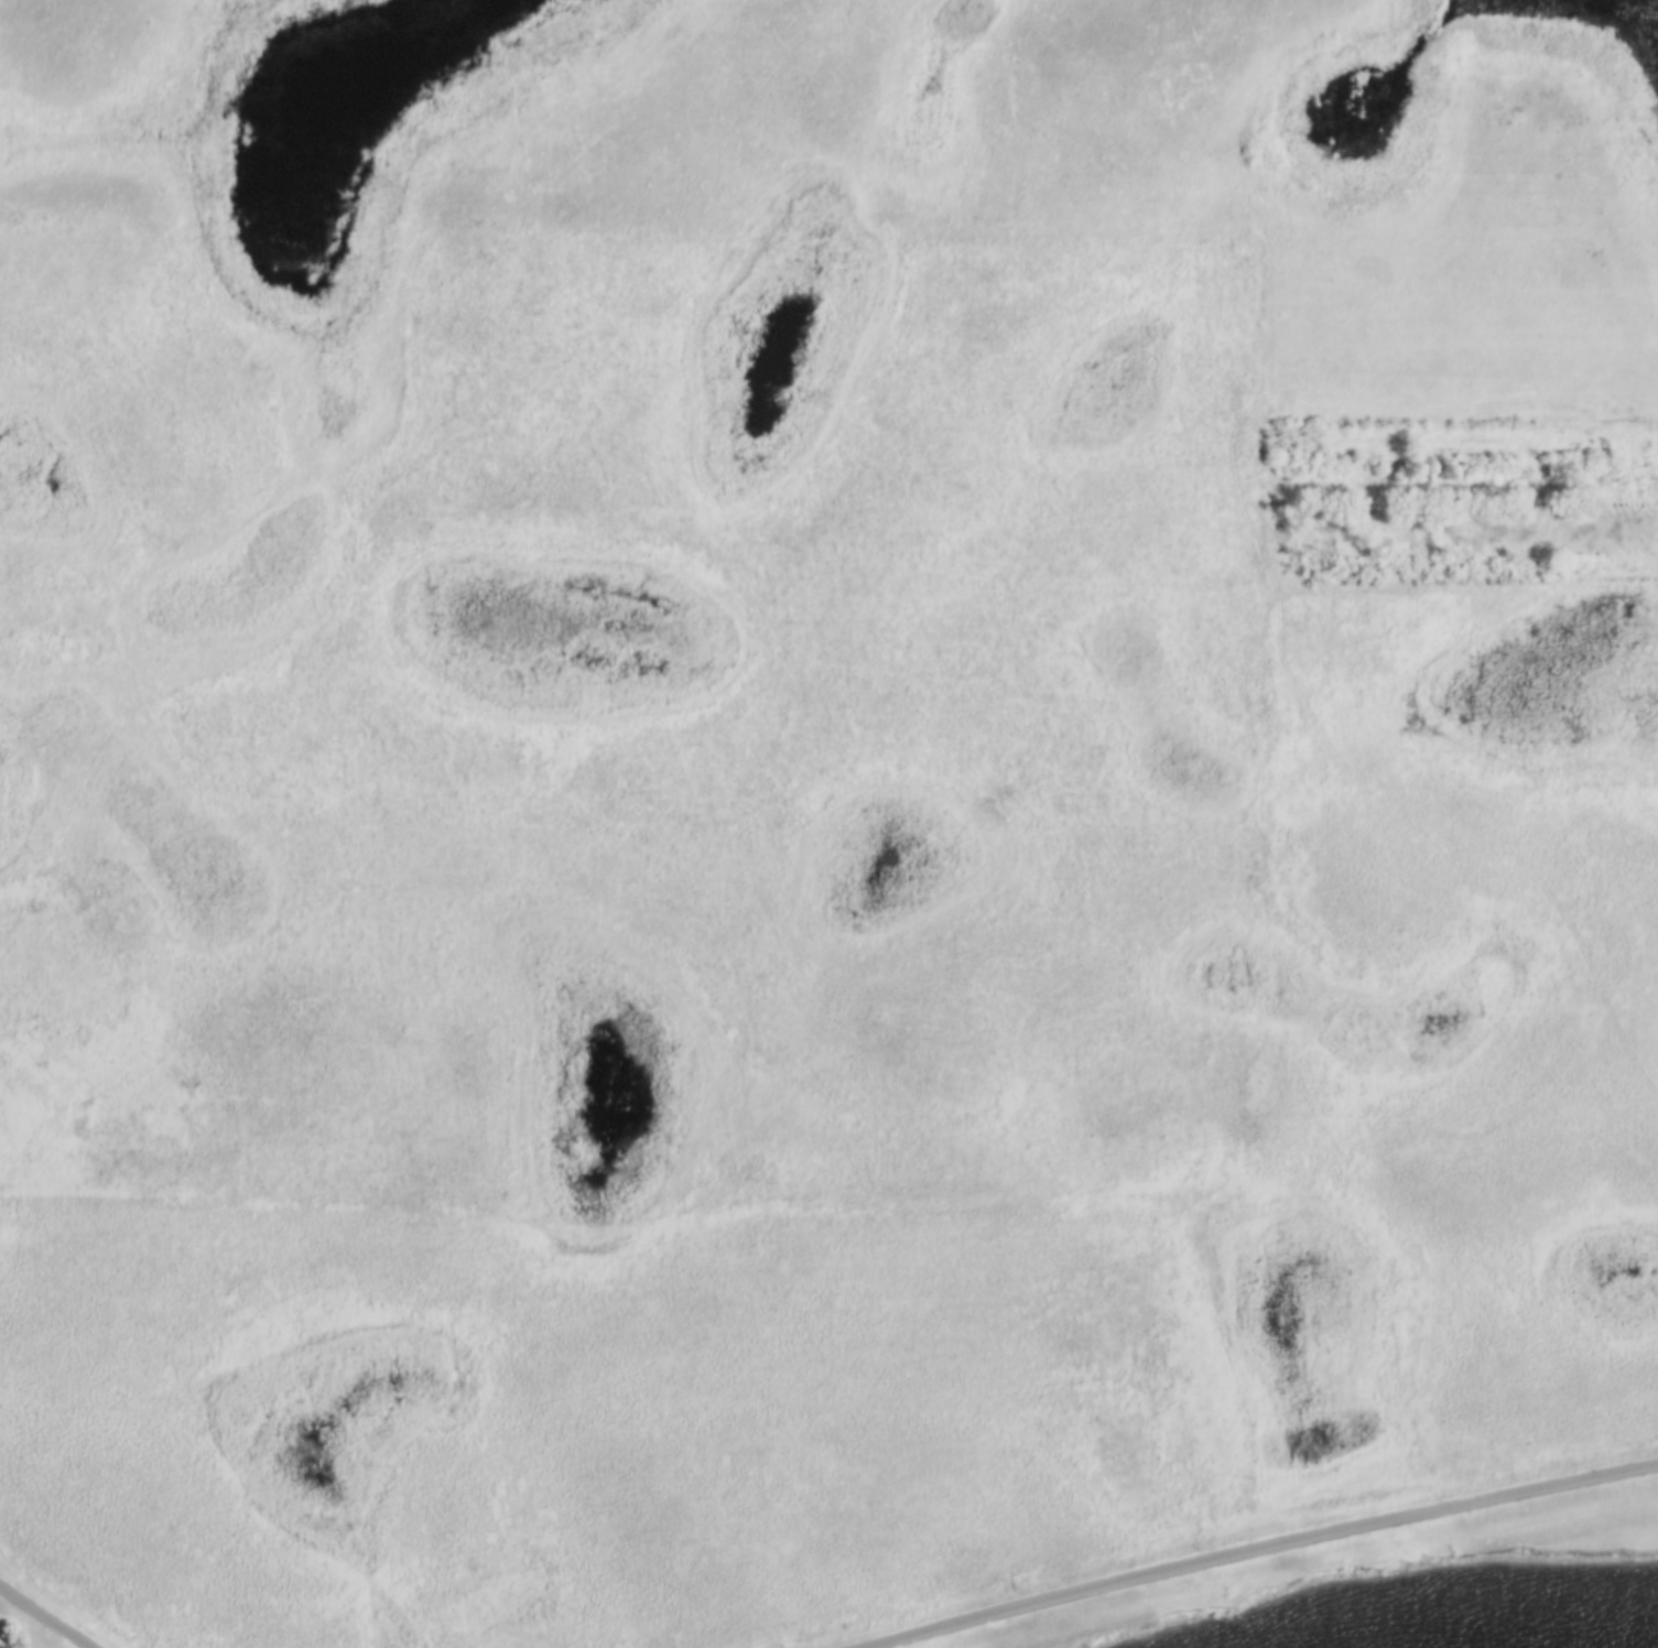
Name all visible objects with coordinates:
road: (1271, 1554)
road: (37, 1623)

